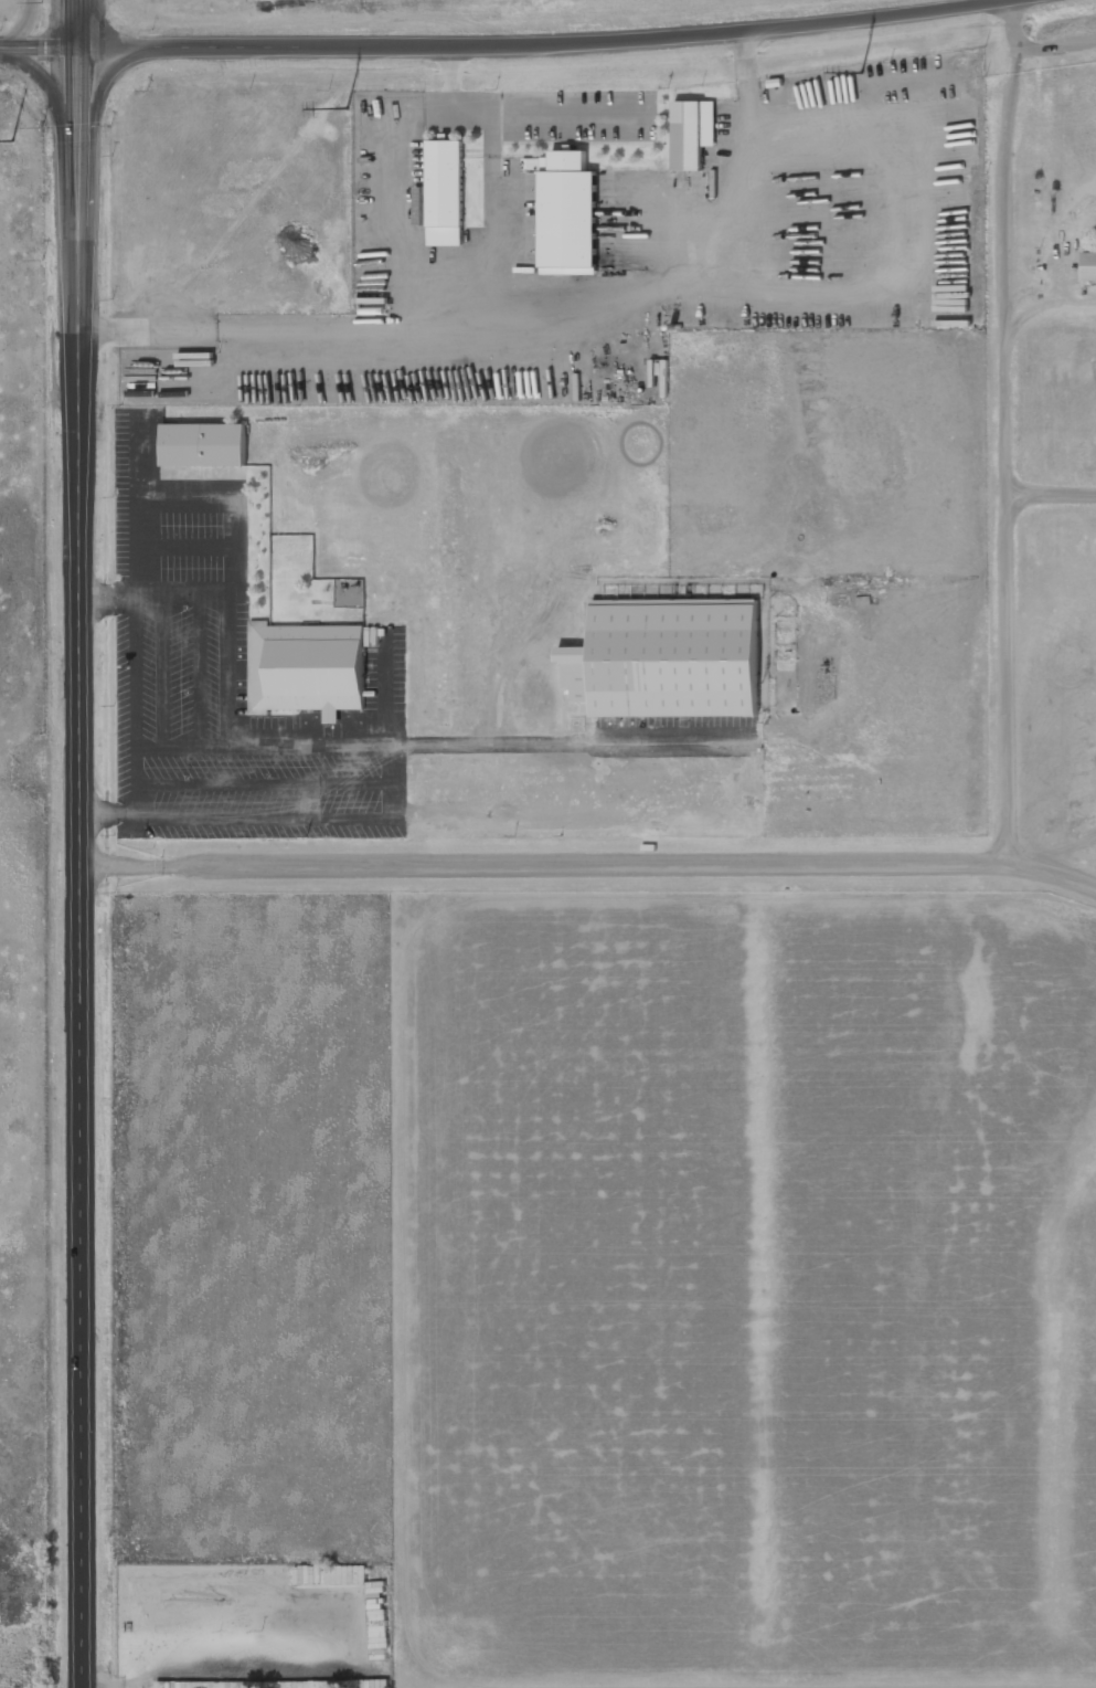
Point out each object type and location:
road: (24, 28)
road: (542, 43)
road: (38, 48)
power tower: (863, 73)
power tower: (349, 108)
road: (92, 122)
road: (62, 126)
building: (694, 137)
power tower: (14, 141)
building: (532, 165)
building: (443, 197)
building: (571, 220)
building: (1089, 266)
building: (205, 445)
building: (668, 660)
building: (312, 672)
road: (81, 843)
road: (592, 864)
building: (331, 1574)
building: (379, 1621)
building: (331, 1684)

